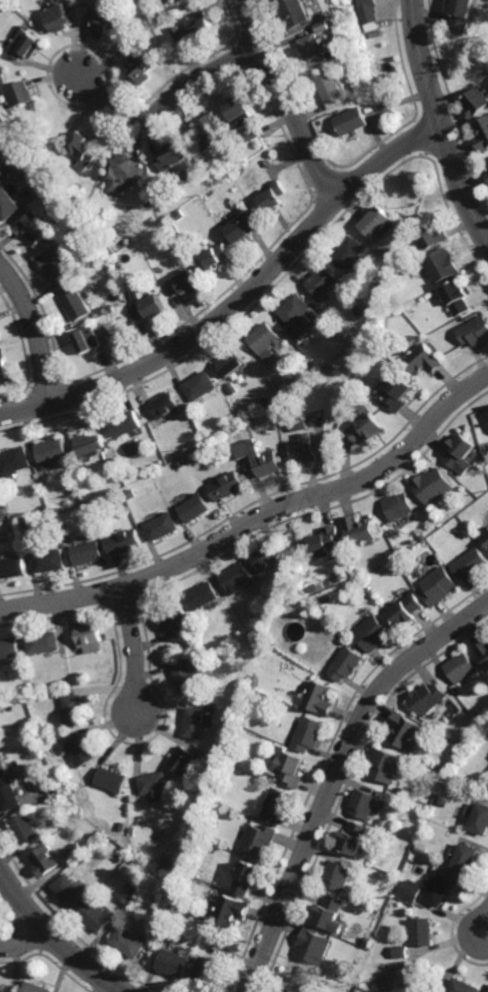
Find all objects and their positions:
building: (177, 1)
building: (367, 4)
building: (294, 11)
building: (462, 14)
building: (58, 16)
building: (163, 16)
building: (104, 20)
building: (200, 23)
building: (323, 25)
building: (179, 34)
building: (4, 37)
building: (22, 43)
building: (128, 44)
building: (480, 47)
building: (314, 48)
building: (353, 59)
building: (139, 68)
building: (330, 87)
building: (18, 93)
road: (288, 101)
building: (476, 101)
road: (166, 103)
building: (239, 109)
building: (351, 120)
road: (442, 124)
building: (2, 130)
building: (209, 131)
building: (482, 134)
building: (250, 135)
building: (81, 149)
building: (171, 156)
building: (487, 160)
building: (122, 173)
building: (487, 176)
building: (37, 182)
building: (273, 196)
building: (7, 203)
building: (149, 205)
building: (376, 222)
building: (243, 227)
building: (33, 228)
building: (431, 236)
building: (349, 252)
building: (399, 252)
building: (215, 257)
building: (55, 264)
building: (440, 265)
building: (110, 272)
building: (322, 281)
building: (125, 282)
building: (185, 283)
building: (141, 294)
building: (455, 297)
road: (240, 301)
building: (75, 303)
building: (150, 308)
building: (297, 316)
road: (37, 330)
building: (474, 331)
building: (88, 340)
building: (265, 341)
building: (422, 359)
building: (304, 361)
building: (232, 363)
building: (3, 369)
building: (360, 384)
building: (200, 386)
building: (395, 393)
building: (267, 403)
building: (166, 405)
building: (473, 415)
building: (127, 423)
building: (300, 423)
building: (364, 424)
building: (90, 444)
building: (304, 449)
building: (460, 453)
building: (51, 454)
building: (261, 459)
building: (15, 463)
building: (182, 464)
building: (114, 467)
building: (433, 486)
building: (37, 487)
building: (228, 487)
building: (133, 495)
building: (399, 507)
building: (58, 508)
building: (195, 509)
building: (3, 513)
road: (258, 519)
building: (163, 528)
building: (359, 531)
building: (66, 535)
building: (421, 535)
building: (486, 537)
building: (327, 542)
building: (125, 543)
building: (88, 555)
building: (269, 557)
building: (50, 562)
building: (470, 563)
building: (12, 569)
building: (238, 574)
building: (438, 585)
building: (316, 586)
building: (204, 593)
building: (321, 597)
building: (302, 601)
building: (324, 608)
building: (406, 610)
building: (174, 615)
building: (238, 632)
building: (372, 633)
building: (90, 639)
building: (46, 640)
building: (257, 640)
building: (10, 646)
road: (137, 649)
building: (483, 649)
building: (26, 663)
building: (347, 663)
building: (77, 667)
building: (462, 667)
building: (190, 675)
building: (51, 685)
building: (18, 692)
building: (321, 697)
building: (430, 697)
building: (215, 705)
building: (76, 707)
building: (197, 720)
building: (45, 729)
building: (407, 729)
building: (311, 732)
building: (83, 749)
building: (3, 757)
building: (185, 759)
building: (389, 764)
building: (448, 764)
building: (294, 768)
road: (339, 775)
building: (115, 779)
building: (156, 781)
building: (54, 787)
building: (10, 793)
building: (367, 802)
building: (282, 804)
building: (199, 806)
building: (480, 818)
building: (384, 823)
building: (124, 825)
building: (26, 827)
building: (358, 837)
building: (262, 839)
building: (78, 851)
building: (415, 856)
building: (465, 857)
building: (47, 859)
building: (376, 860)
building: (425, 865)
building: (341, 874)
building: (253, 876)
building: (438, 888)
building: (71, 889)
building: (412, 889)
building: (131, 893)
building: (233, 909)
building: (174, 911)
building: (334, 912)
building: (98, 916)
building: (421, 931)
road: (56, 939)
road: (22, 941)
building: (370, 941)
building: (131, 942)
building: (317, 944)
building: (400, 951)
building: (177, 962)
building: (303, 970)
building: (209, 973)
building: (390, 976)
building: (461, 986)
building: (35, 987)
building: (2, 991)
building: (290, 991)

